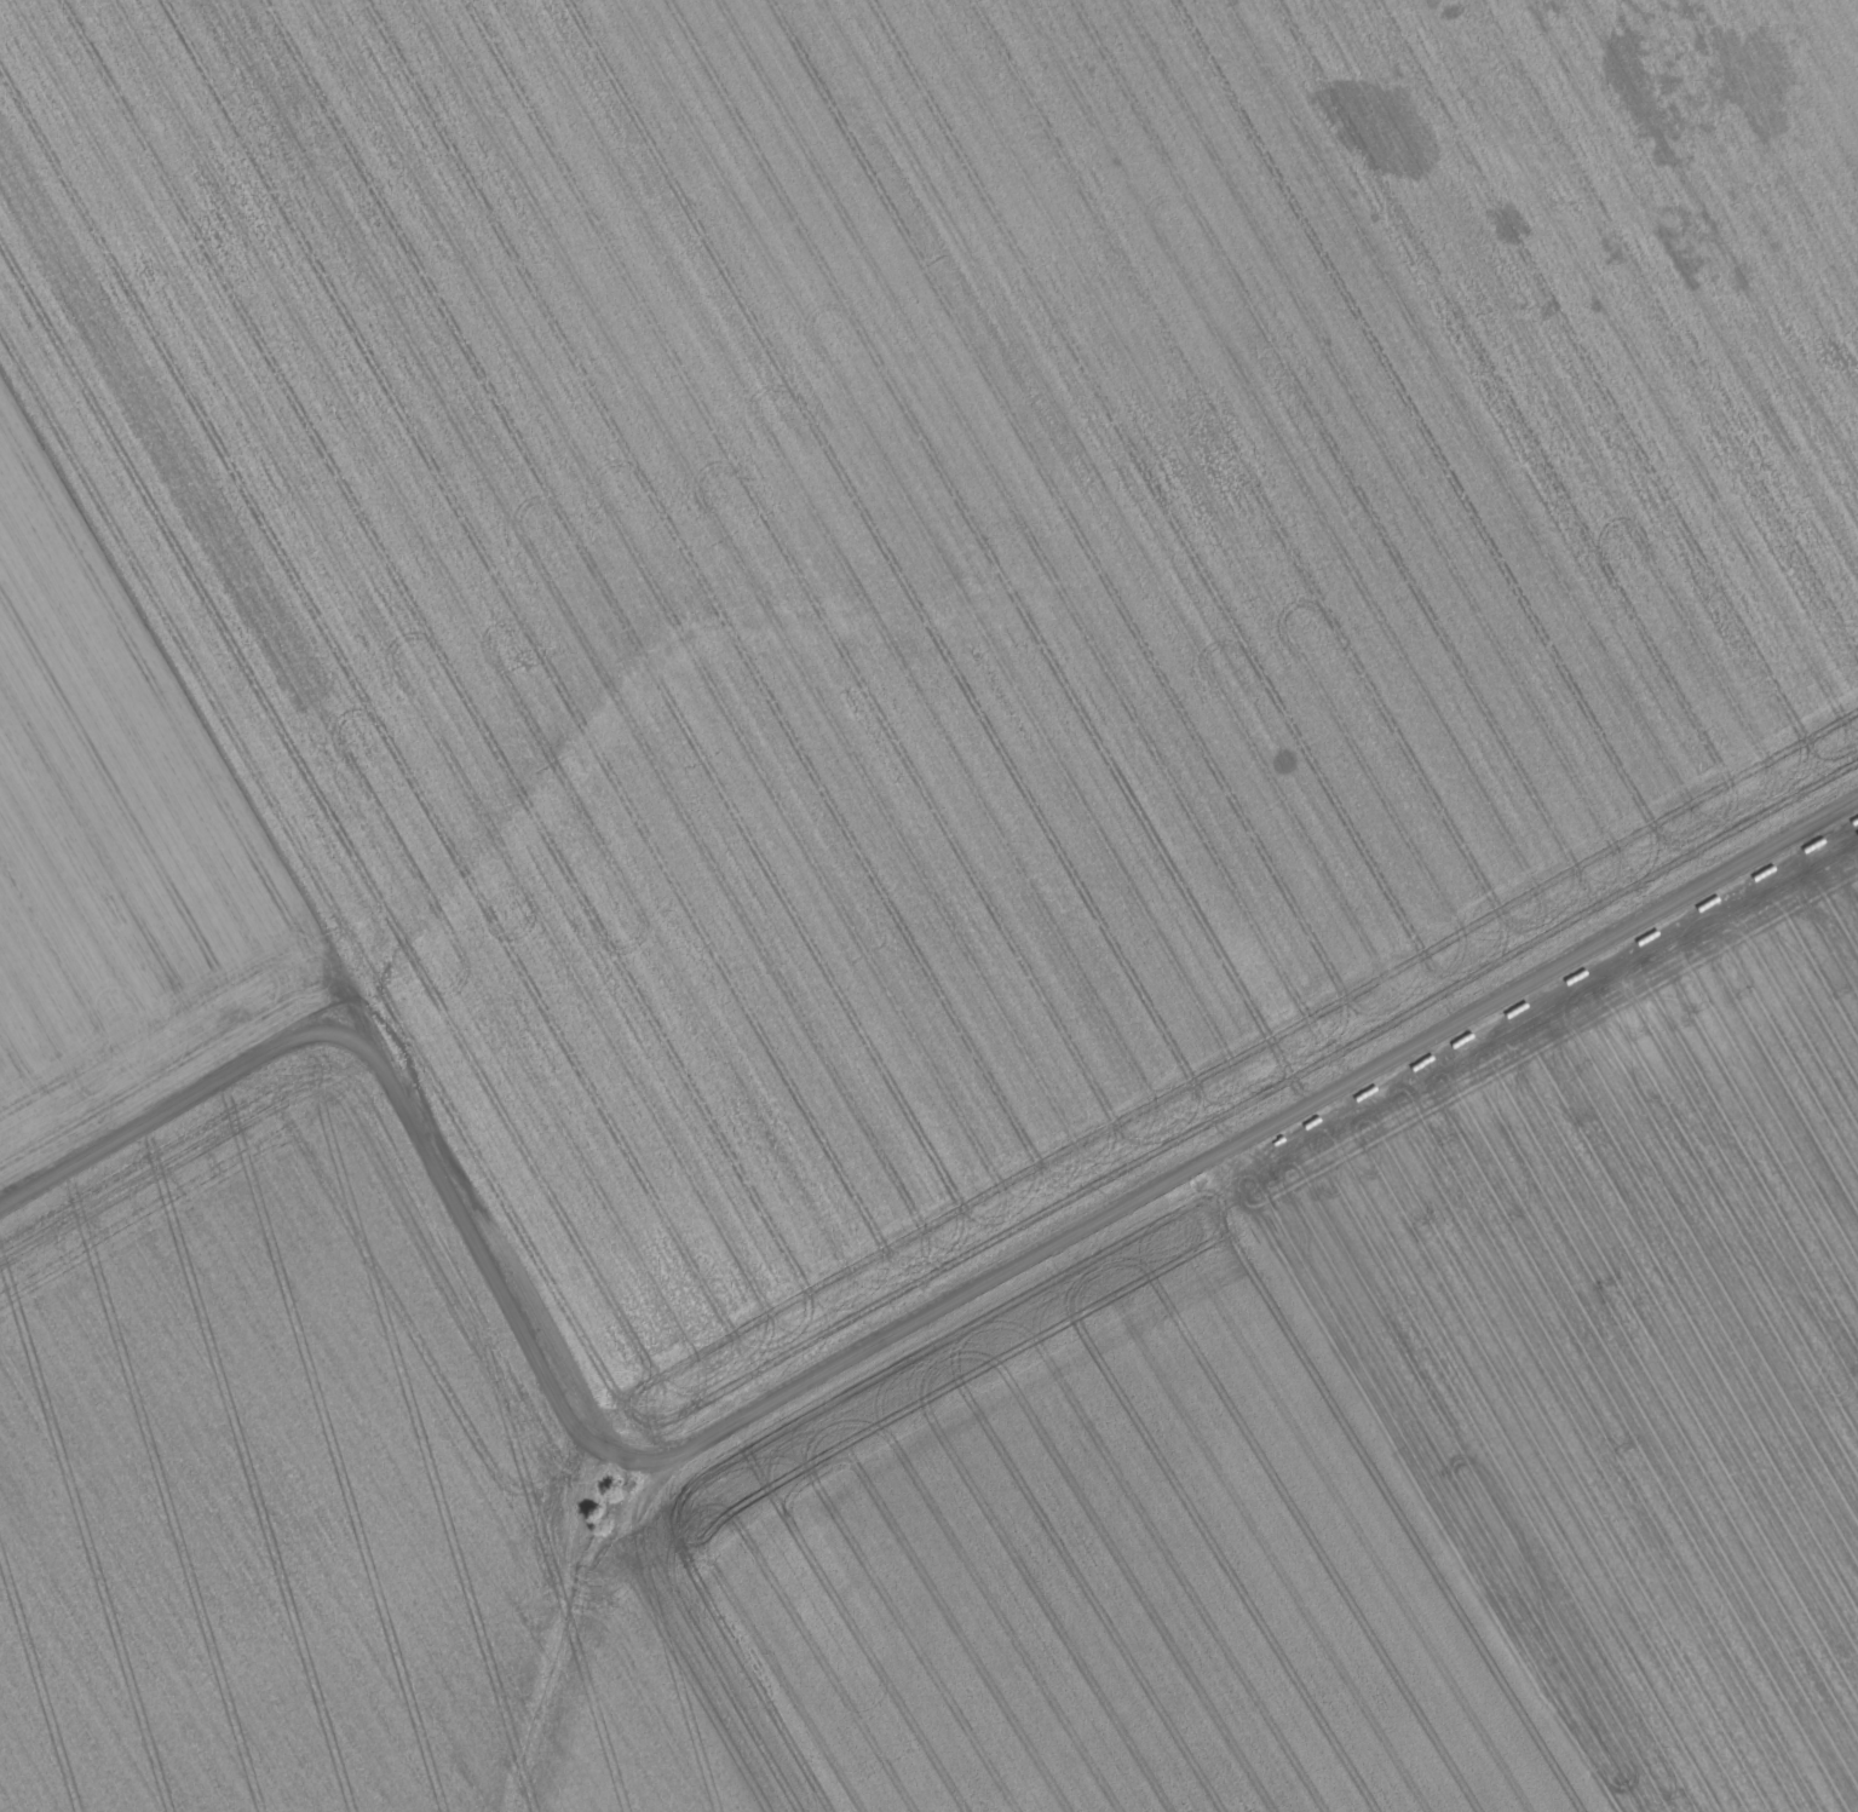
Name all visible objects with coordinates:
road: (389, 1075)
road: (1236, 1133)

